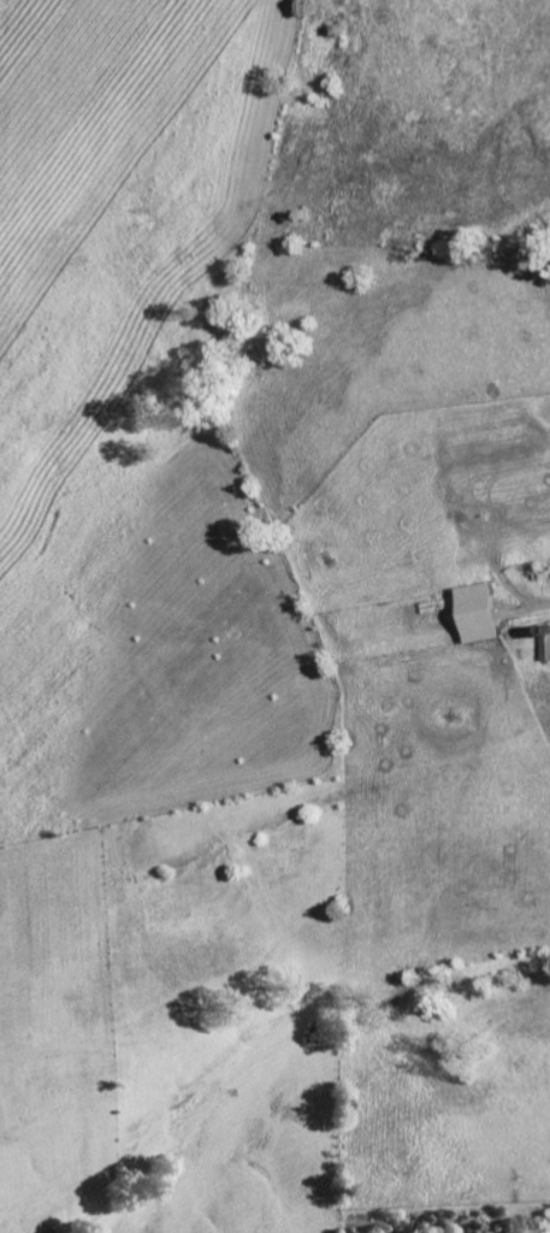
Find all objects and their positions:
building: (483, 613)

